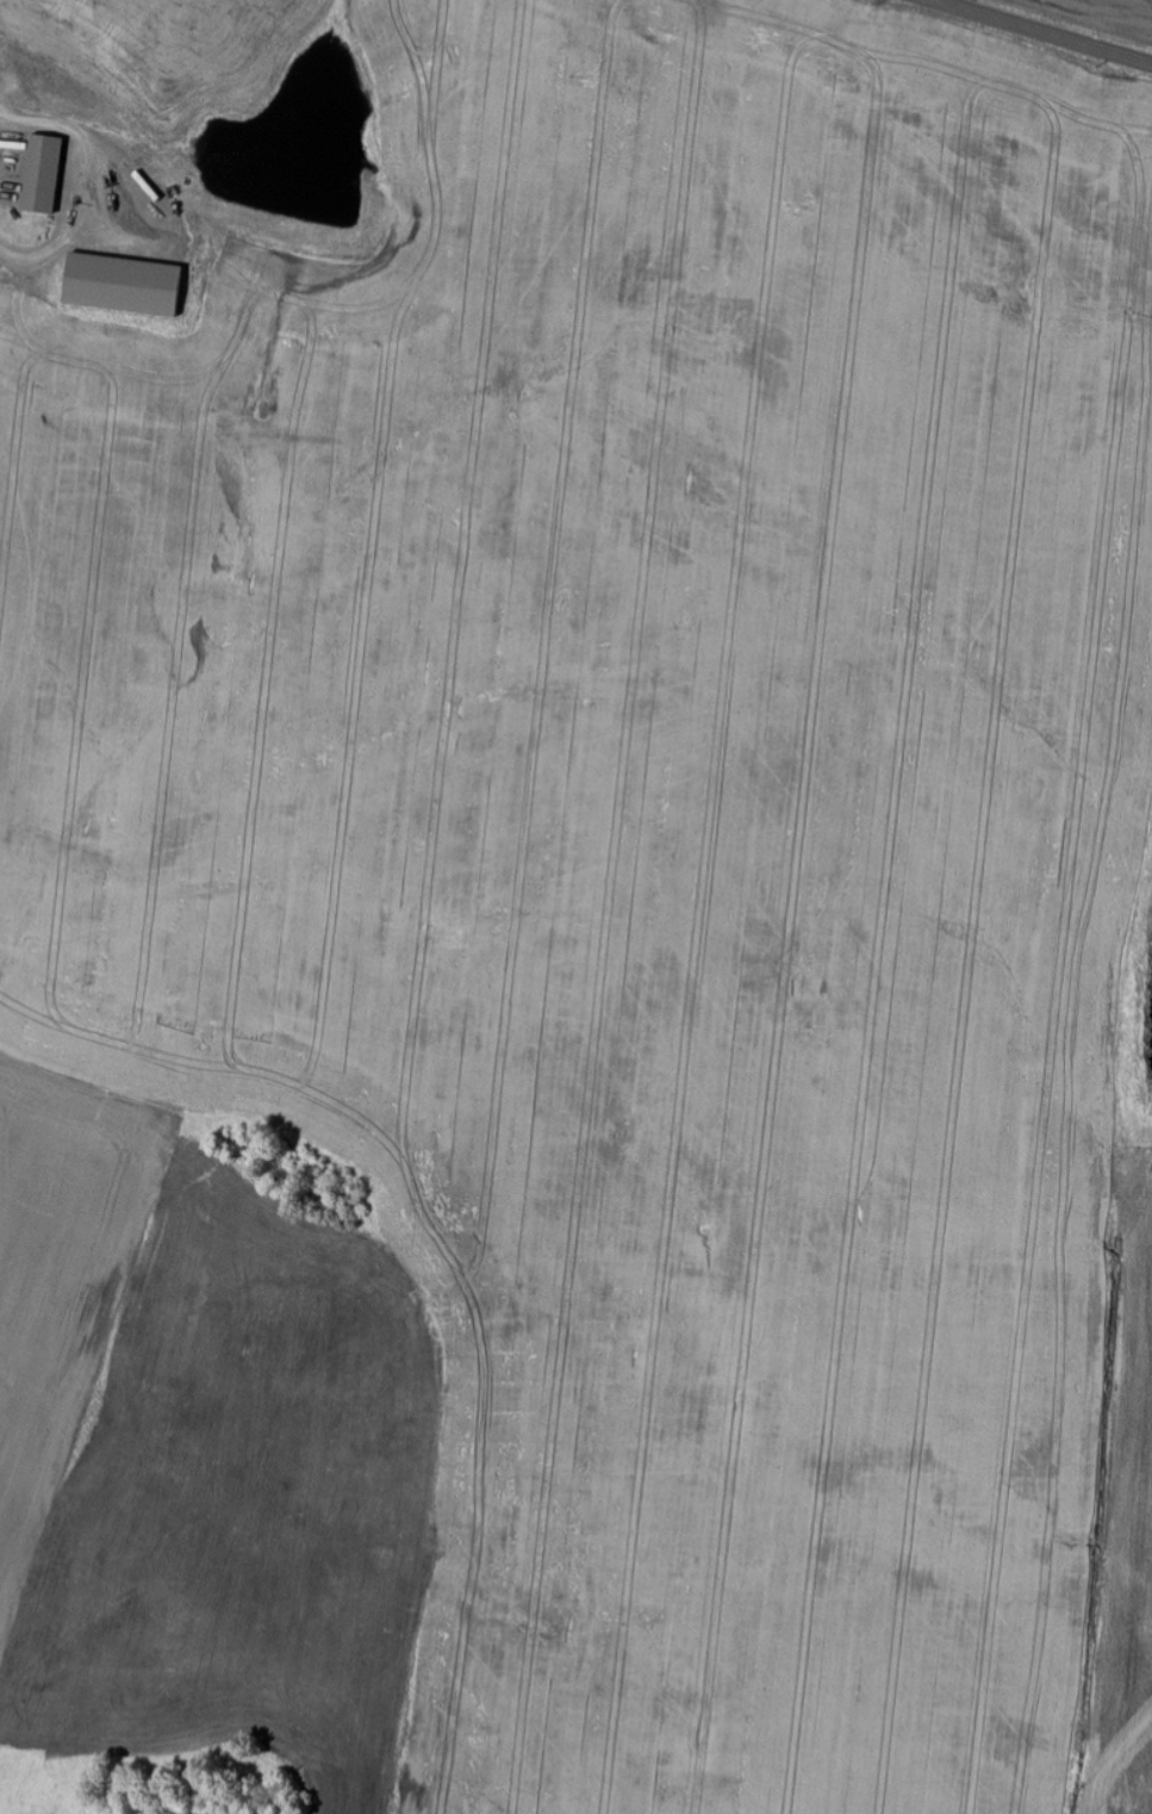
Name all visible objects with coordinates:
road: (1041, 29)
building: (38, 175)
building: (118, 286)

